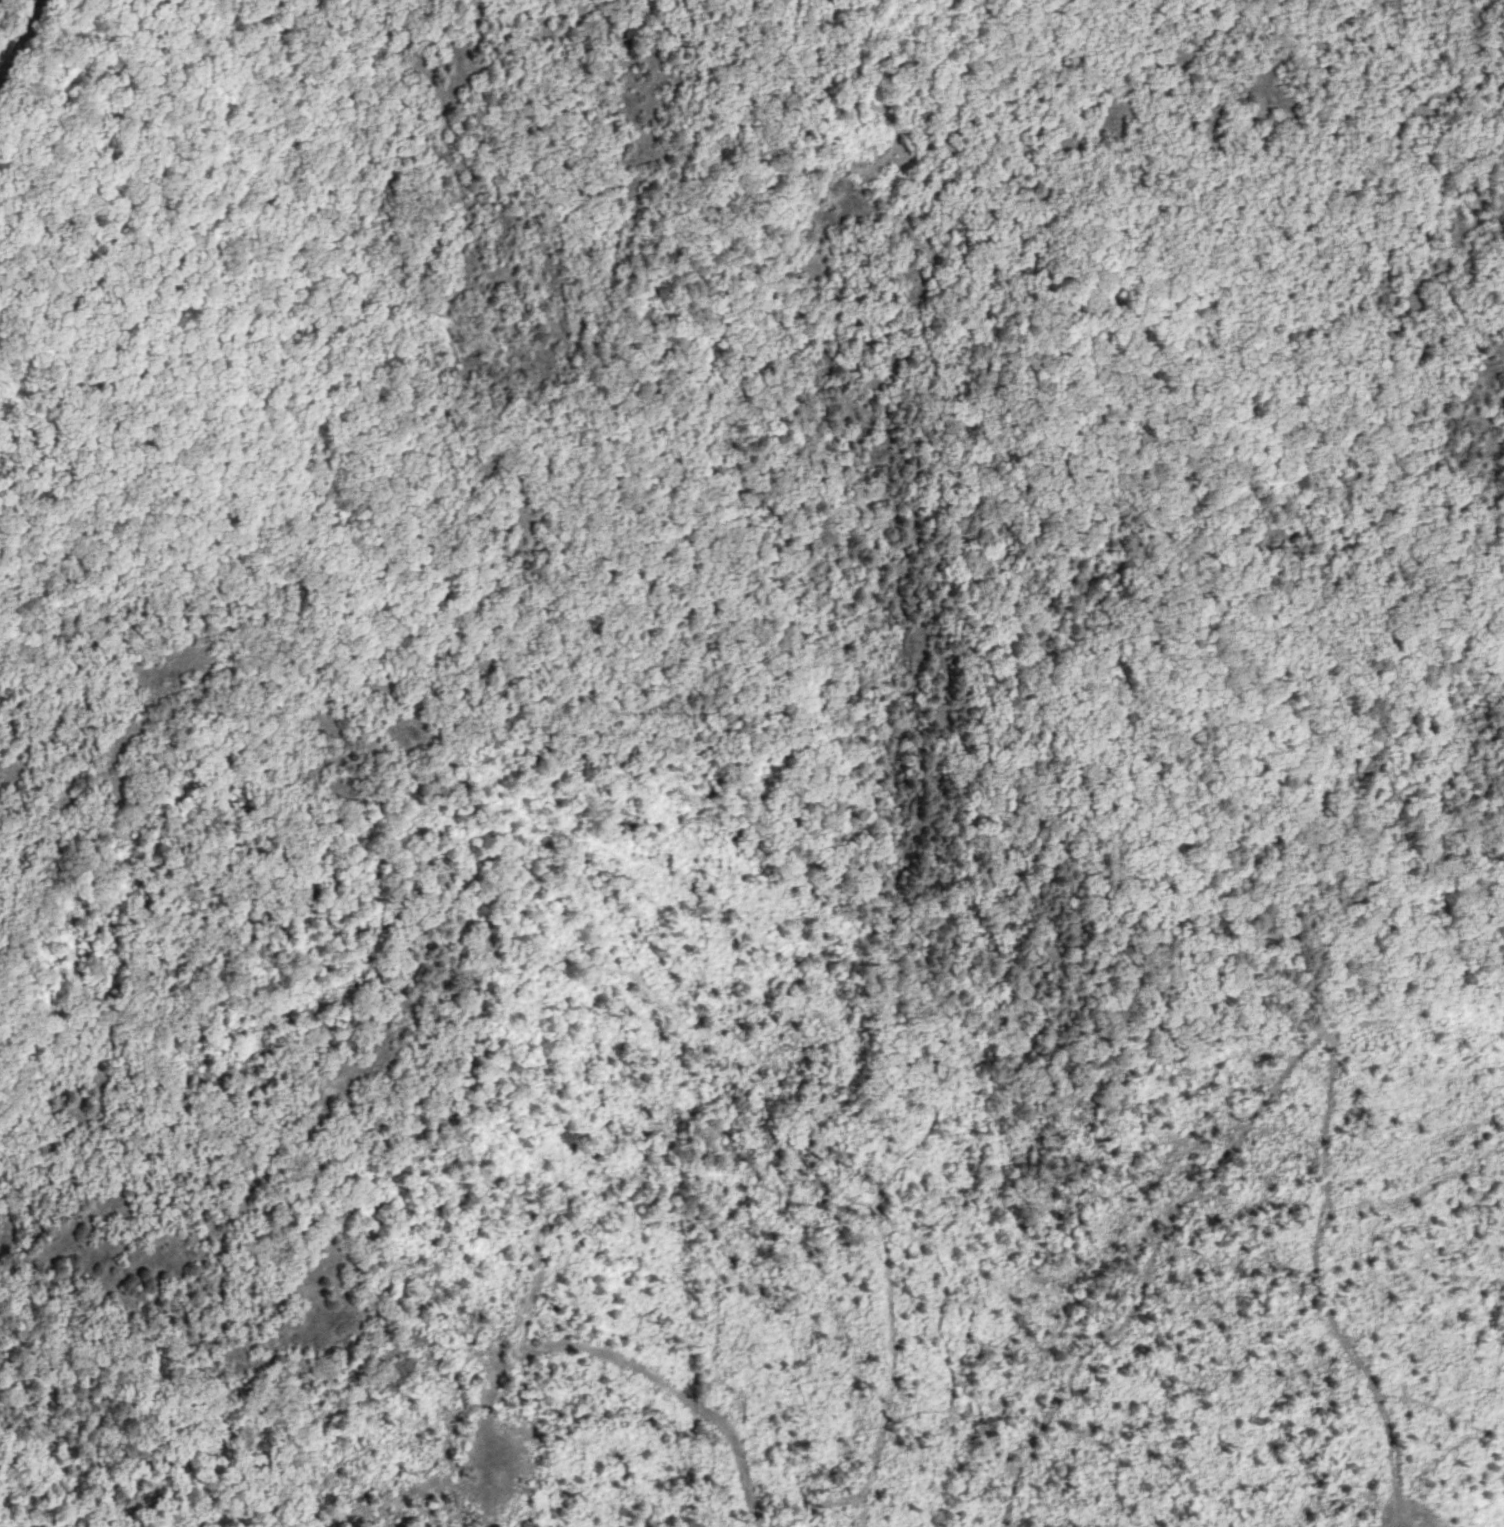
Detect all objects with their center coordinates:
road: (18, 32)
building: (628, 33)

